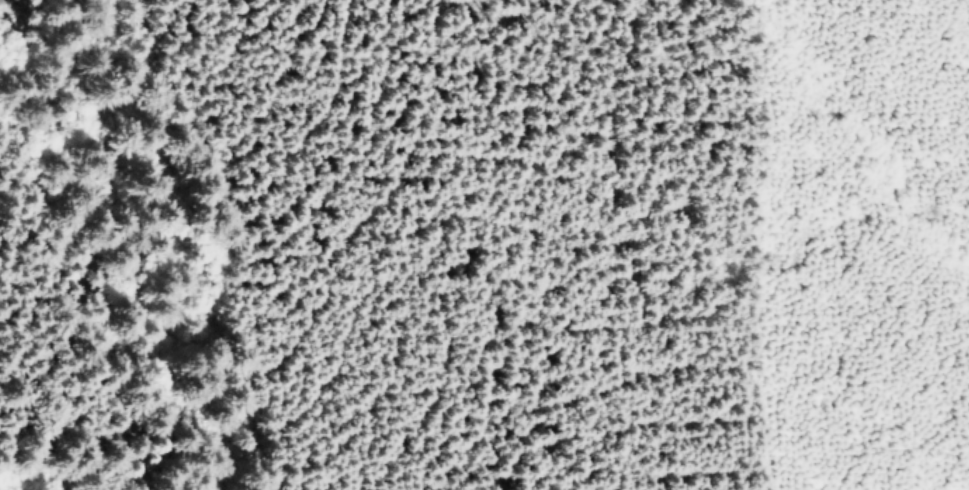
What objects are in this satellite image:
road: (4, 0)
road: (953, 147)
road: (300, 204)

